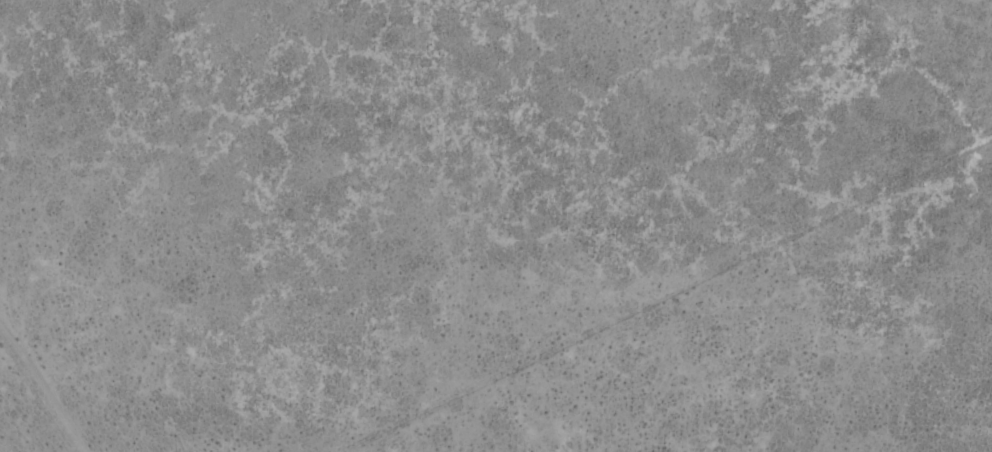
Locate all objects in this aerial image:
road: (39, 391)

